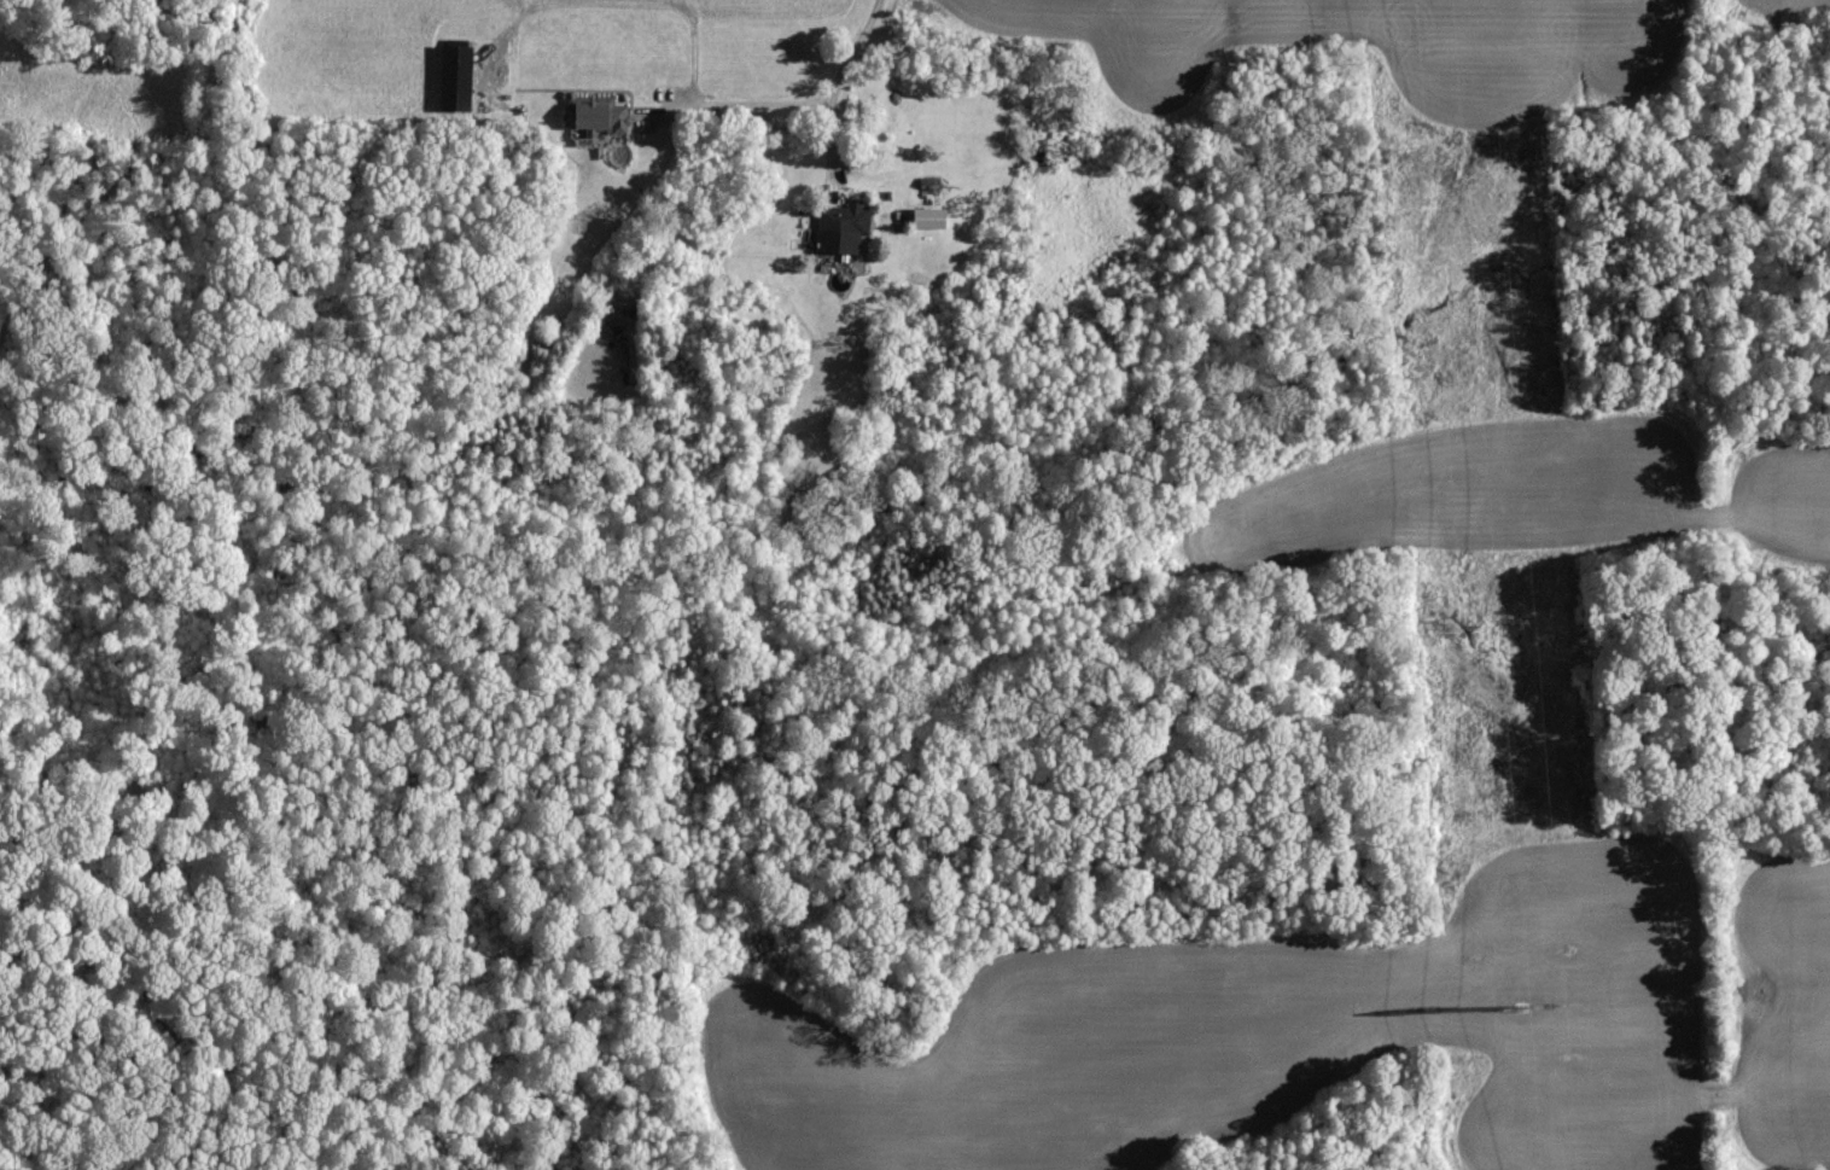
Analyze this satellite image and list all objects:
building: (462, 78)
building: (604, 117)
building: (934, 220)
building: (846, 228)
power tower: (1525, 1008)

